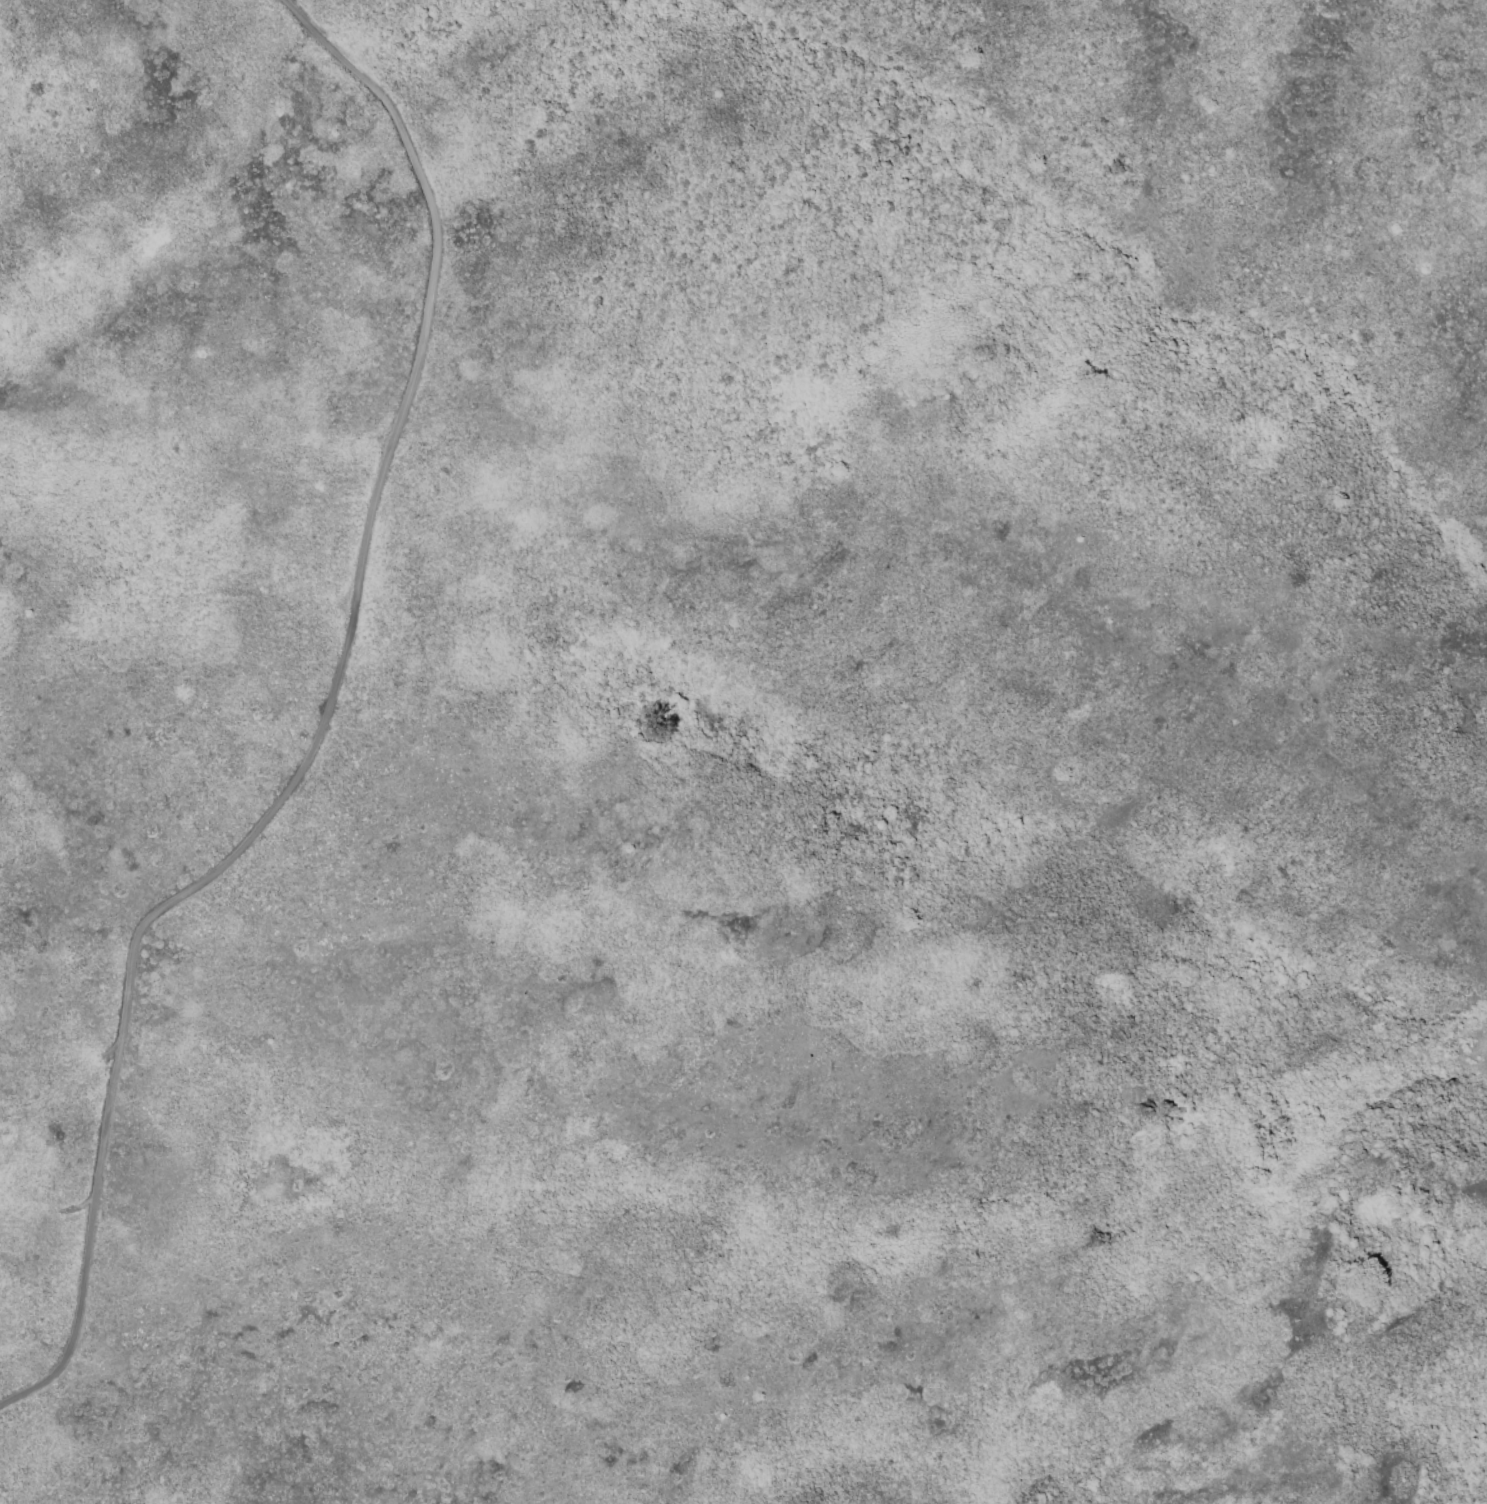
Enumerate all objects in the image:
road: (320, 727)

